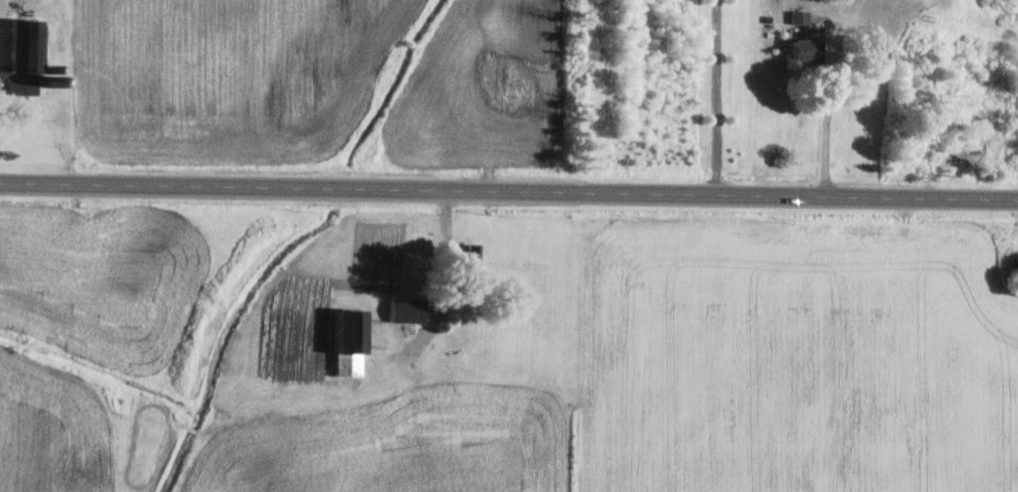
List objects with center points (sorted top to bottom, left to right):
building: (806, 47)
building: (25, 58)
road: (712, 97)
road: (824, 121)
road: (509, 190)
road: (441, 264)
building: (468, 264)
building: (1016, 266)
building: (406, 313)
building: (350, 344)

